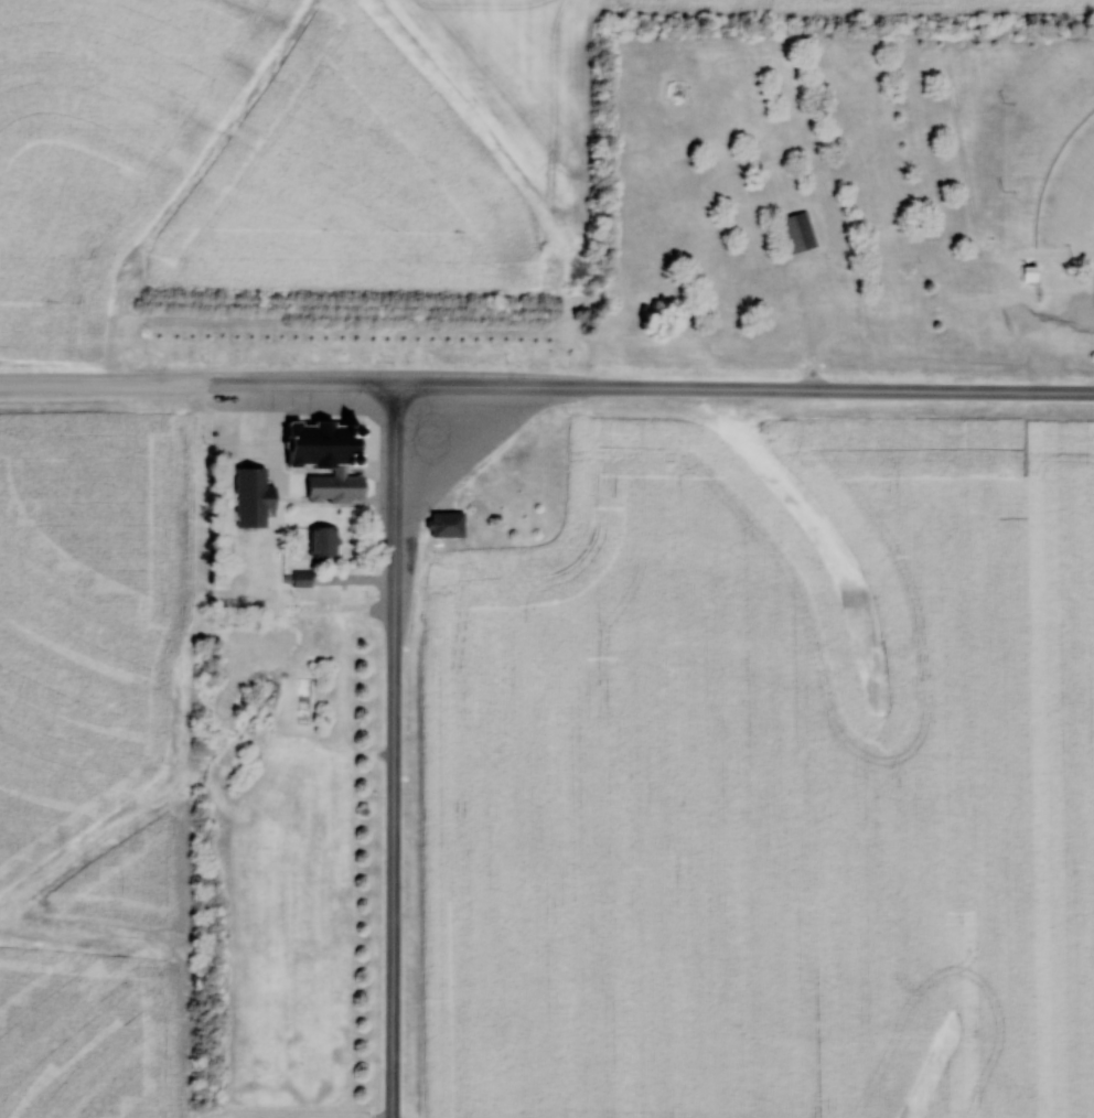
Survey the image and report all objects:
building: (797, 233)
road: (99, 384)
road: (646, 387)
building: (322, 443)
building: (251, 497)
building: (447, 524)
building: (322, 540)
building: (301, 578)
road: (395, 751)
park: (271, 1114)

